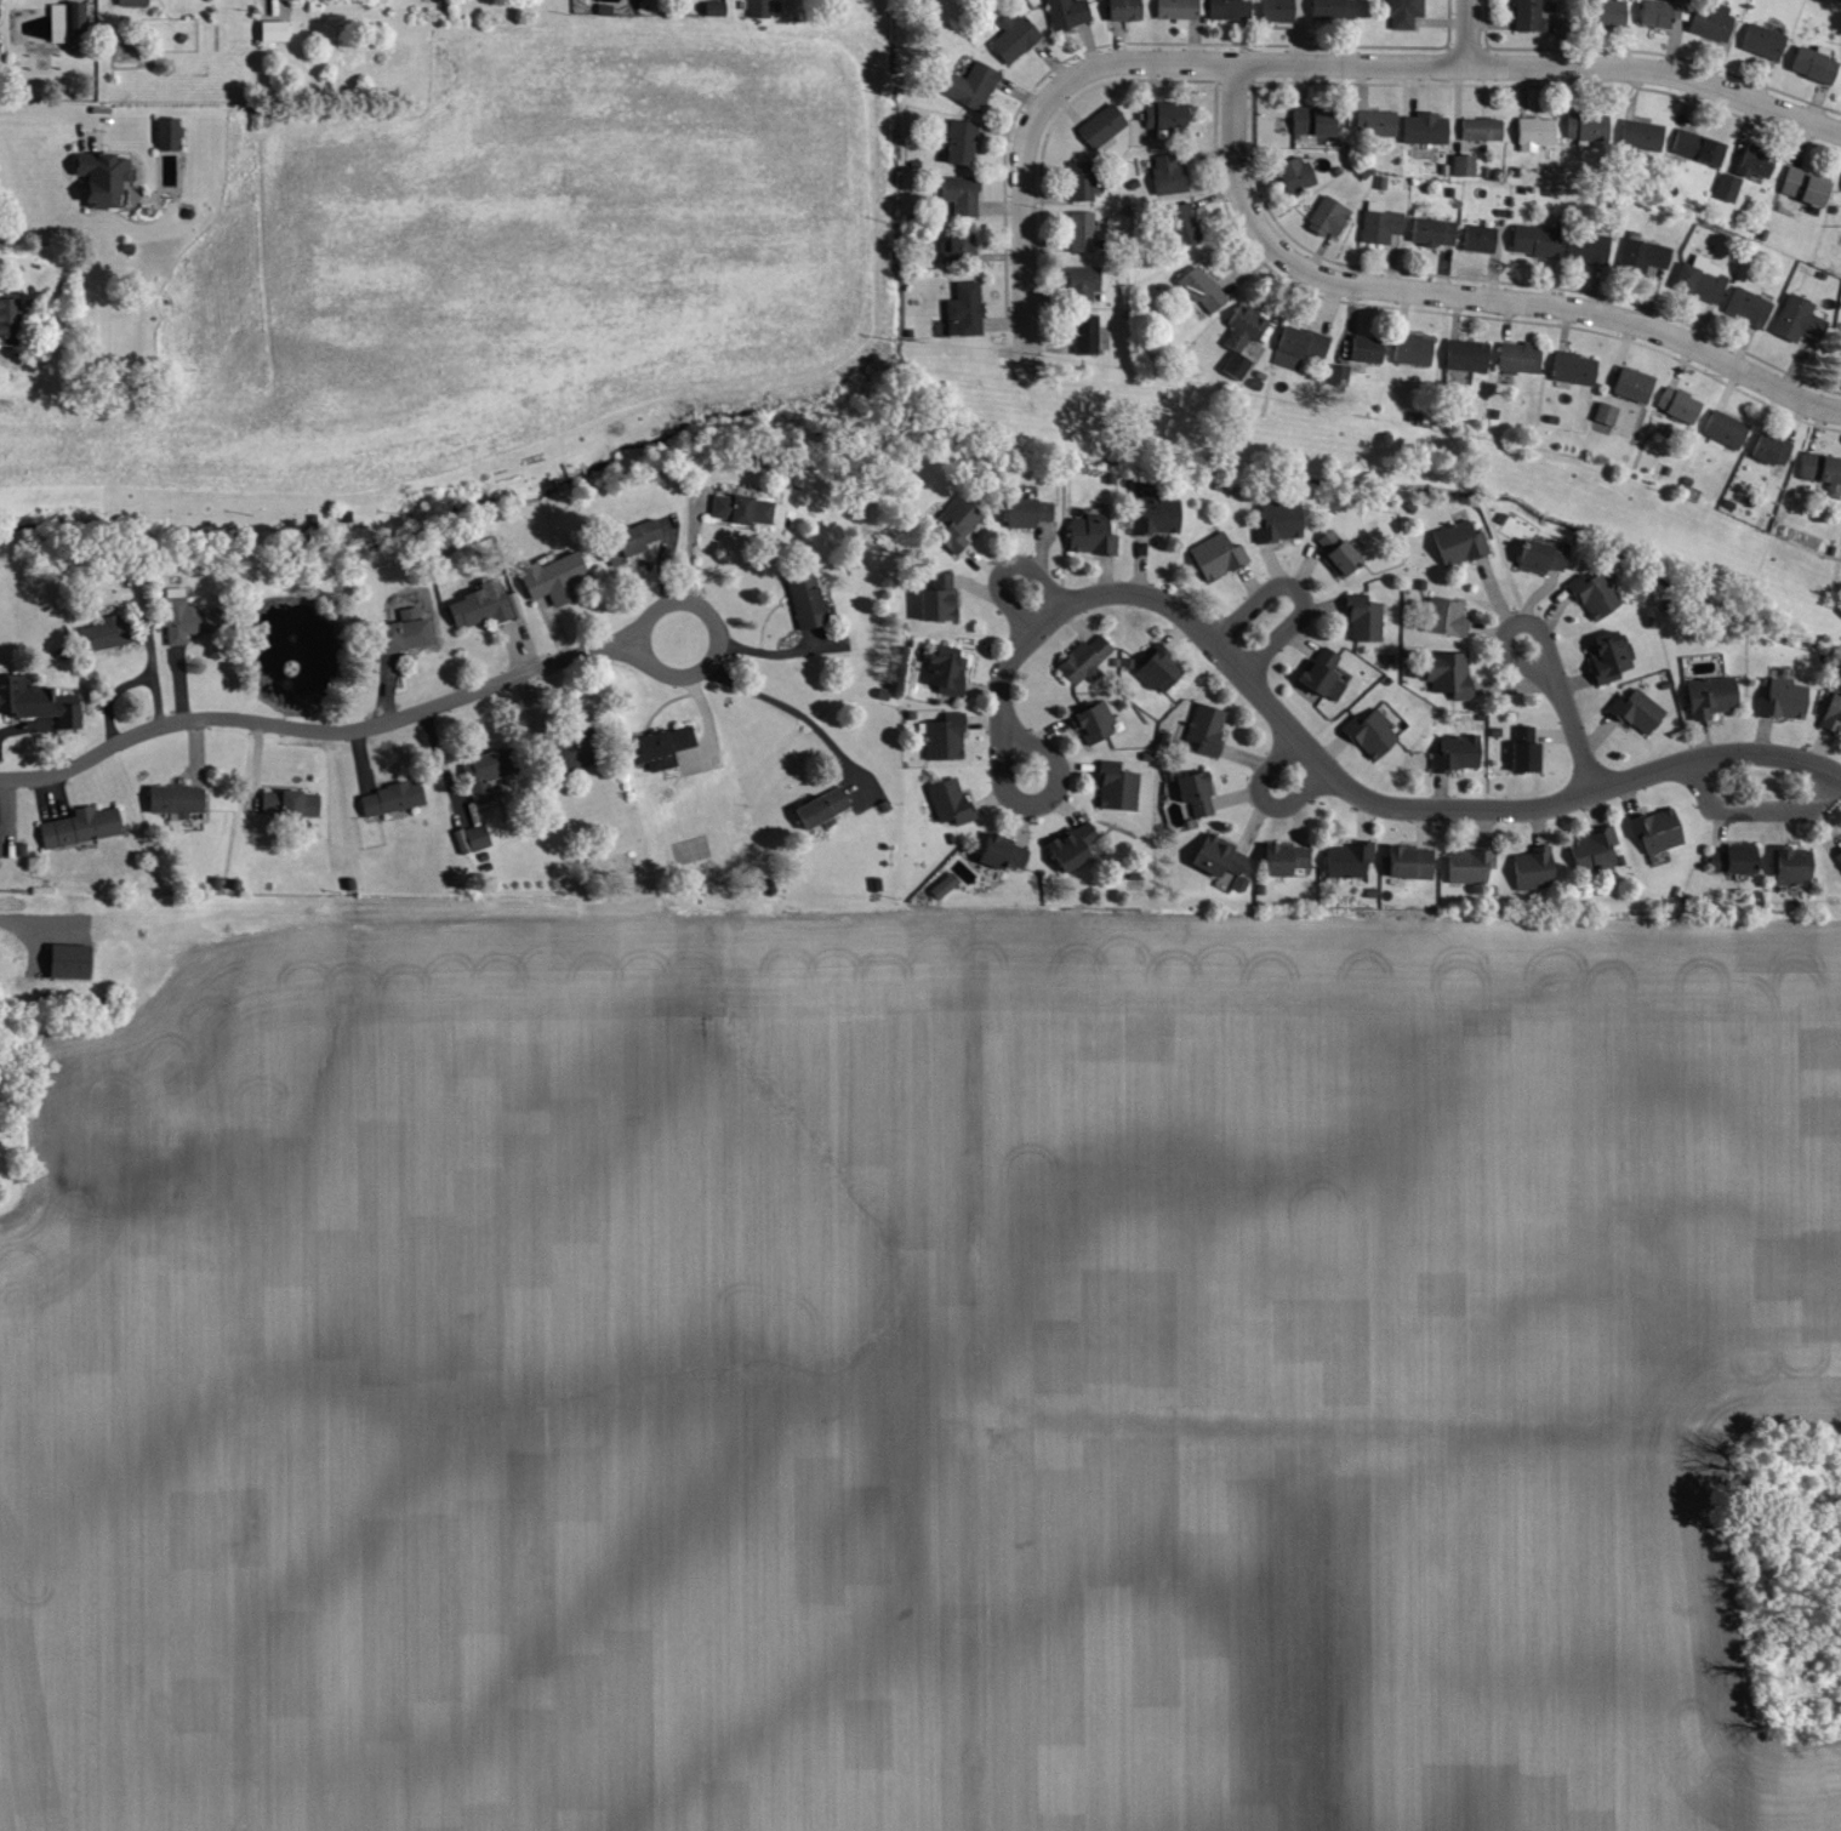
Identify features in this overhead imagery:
building: (131, 2)
building: (757, 8)
building: (1121, 8)
building: (1175, 8)
building: (1226, 8)
building: (712, 10)
building: (1276, 10)
building: (1332, 10)
building: (1402, 11)
building: (1066, 12)
building: (1653, 12)
building: (1608, 13)
building: (1526, 15)
building: (1709, 19)
building: (64, 21)
building: (270, 32)
road: (1464, 32)
building: (1011, 38)
building: (1761, 40)
road: (1346, 61)
building: (1812, 62)
road: (1655, 72)
building: (970, 85)
road: (44, 107)
building: (1164, 114)
building: (1311, 120)
building: (1375, 122)
building: (1100, 125)
road: (1027, 127)
building: (1424, 127)
building: (1585, 127)
building: (1480, 129)
building: (166, 132)
building: (1533, 132)
building: (1640, 135)
building: (959, 139)
building: (1695, 146)
building: (1754, 160)
building: (1463, 164)
building: (1293, 173)
building: (1165, 175)
building: (99, 176)
building: (1081, 181)
building: (1802, 186)
building: (1726, 187)
building: (958, 194)
building: (1327, 216)
building: (1180, 223)
building: (1378, 223)
building: (1079, 230)
building: (1432, 232)
building: (1476, 236)
building: (1533, 240)
building: (954, 243)
building: (1589, 246)
building: (1640, 253)
building: (1699, 278)
building: (1081, 281)
building: (1199, 289)
road: (1464, 293)
building: (1746, 307)
building: (963, 308)
building: (6, 315)
building: (1796, 319)
building: (1084, 332)
building: (1238, 338)
building: (1295, 346)
building: (1364, 348)
building: (1410, 348)
building: (1465, 355)
building: (1516, 356)
building: (1572, 369)
building: (1631, 383)
building: (1677, 404)
building: (1603, 412)
building: (1723, 428)
building: (1769, 449)
building: (1822, 472)
building: (740, 509)
building: (1024, 512)
building: (1153, 515)
building: (1276, 520)
building: (954, 524)
building: (1089, 535)
building: (629, 537)
building: (1457, 542)
building: (1335, 552)
building: (1214, 555)
building: (1539, 557)
road: (1003, 565)
road: (1102, 572)
building: (549, 577)
road: (1298, 592)
building: (1594, 593)
building: (936, 597)
building: (803, 600)
building: (481, 604)
building: (181, 616)
building: (1444, 616)
building: (1362, 618)
building: (401, 631)
road: (713, 631)
building: (106, 632)
road: (1500, 646)
building: (1607, 656)
building: (1083, 660)
building: (944, 669)
building: (1155, 671)
building: (1321, 673)
building: (1447, 673)
building: (1709, 696)
building: (1780, 698)
building: (35, 701)
building: (1635, 709)
building: (1831, 711)
road: (800, 712)
building: (1090, 721)
road: (45, 728)
road: (309, 728)
building: (1203, 729)
road: (1569, 730)
building: (1369, 734)
building: (942, 736)
building: (656, 746)
building: (568, 747)
building: (1455, 752)
building: (1521, 755)
building: (481, 772)
building: (1115, 787)
road: (1346, 787)
building: (1193, 791)
building: (388, 797)
road: (1013, 798)
building: (172, 799)
road: (1261, 799)
building: (946, 800)
building: (290, 803)
building: (820, 806)
road: (1754, 806)
building: (78, 826)
building: (1654, 829)
building: (471, 838)
building: (1070, 845)
building: (998, 851)
building: (1592, 851)
building: (1346, 859)
building: (1839, 859)
building: (1283, 860)
building: (1218, 861)
building: (1729, 861)
building: (1408, 862)
building: (1466, 866)
building: (1532, 867)
building: (1789, 867)
building: (941, 885)
road: (30, 940)
building: (65, 960)

